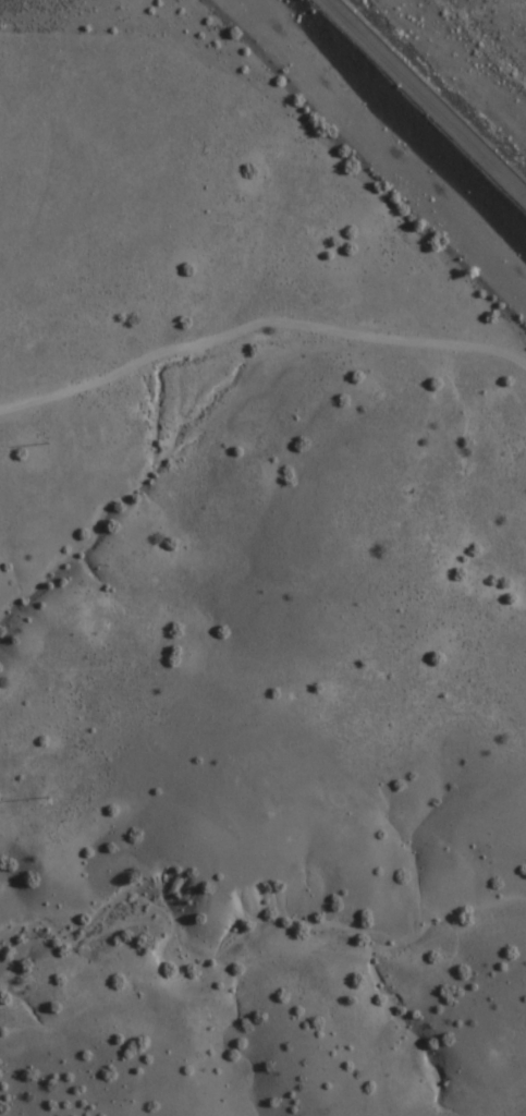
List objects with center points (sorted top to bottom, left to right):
road: (429, 95)
dam: (395, 124)
road: (242, 335)

